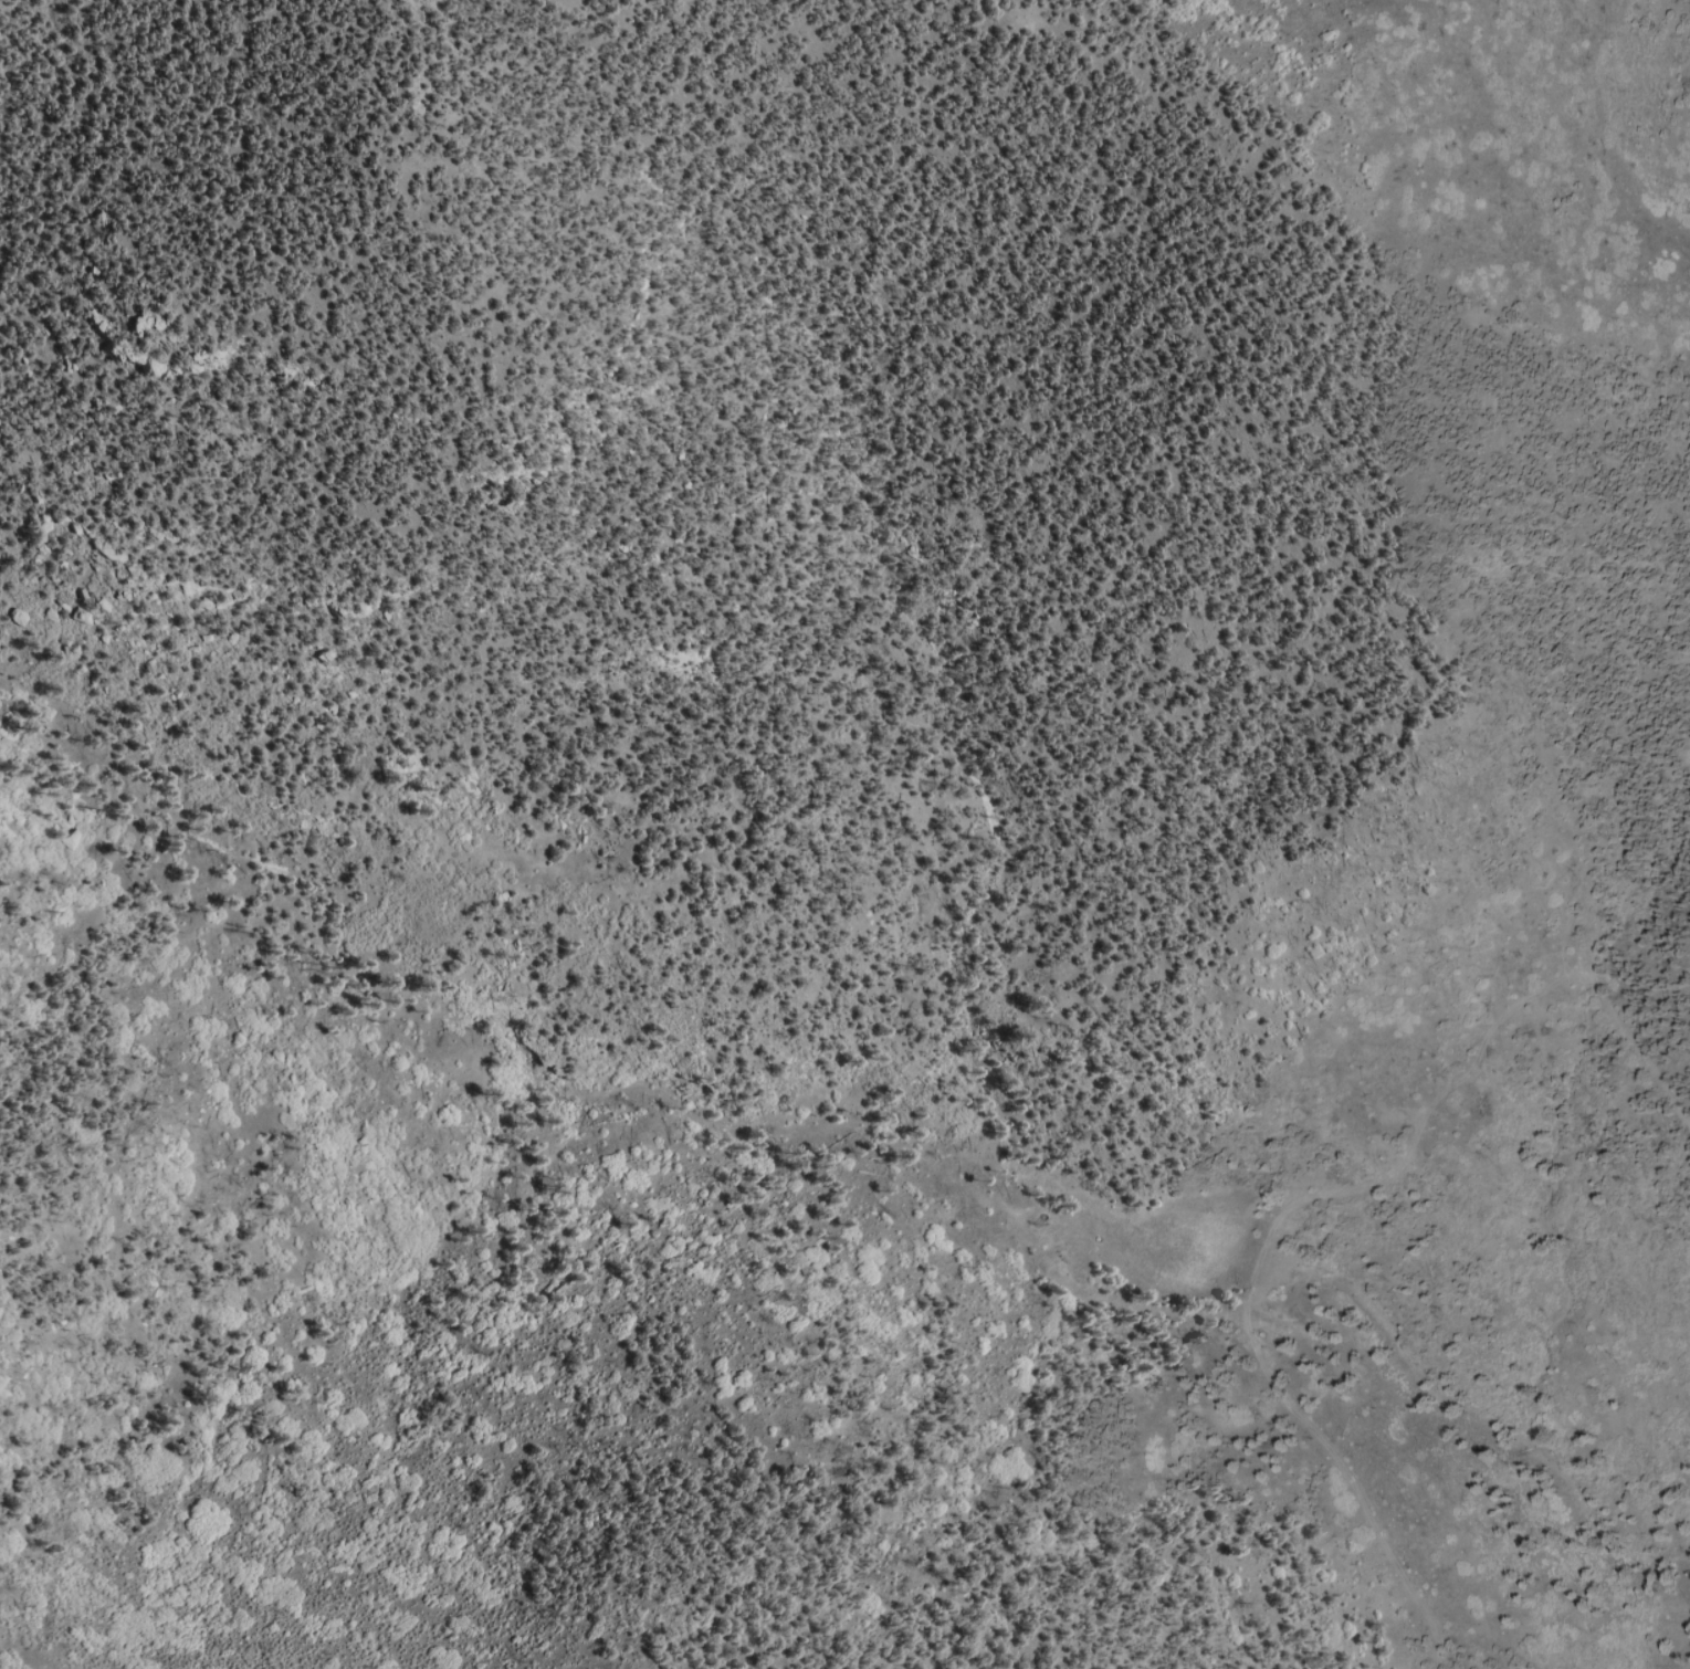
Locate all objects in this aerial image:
road: (1313, 1196)

